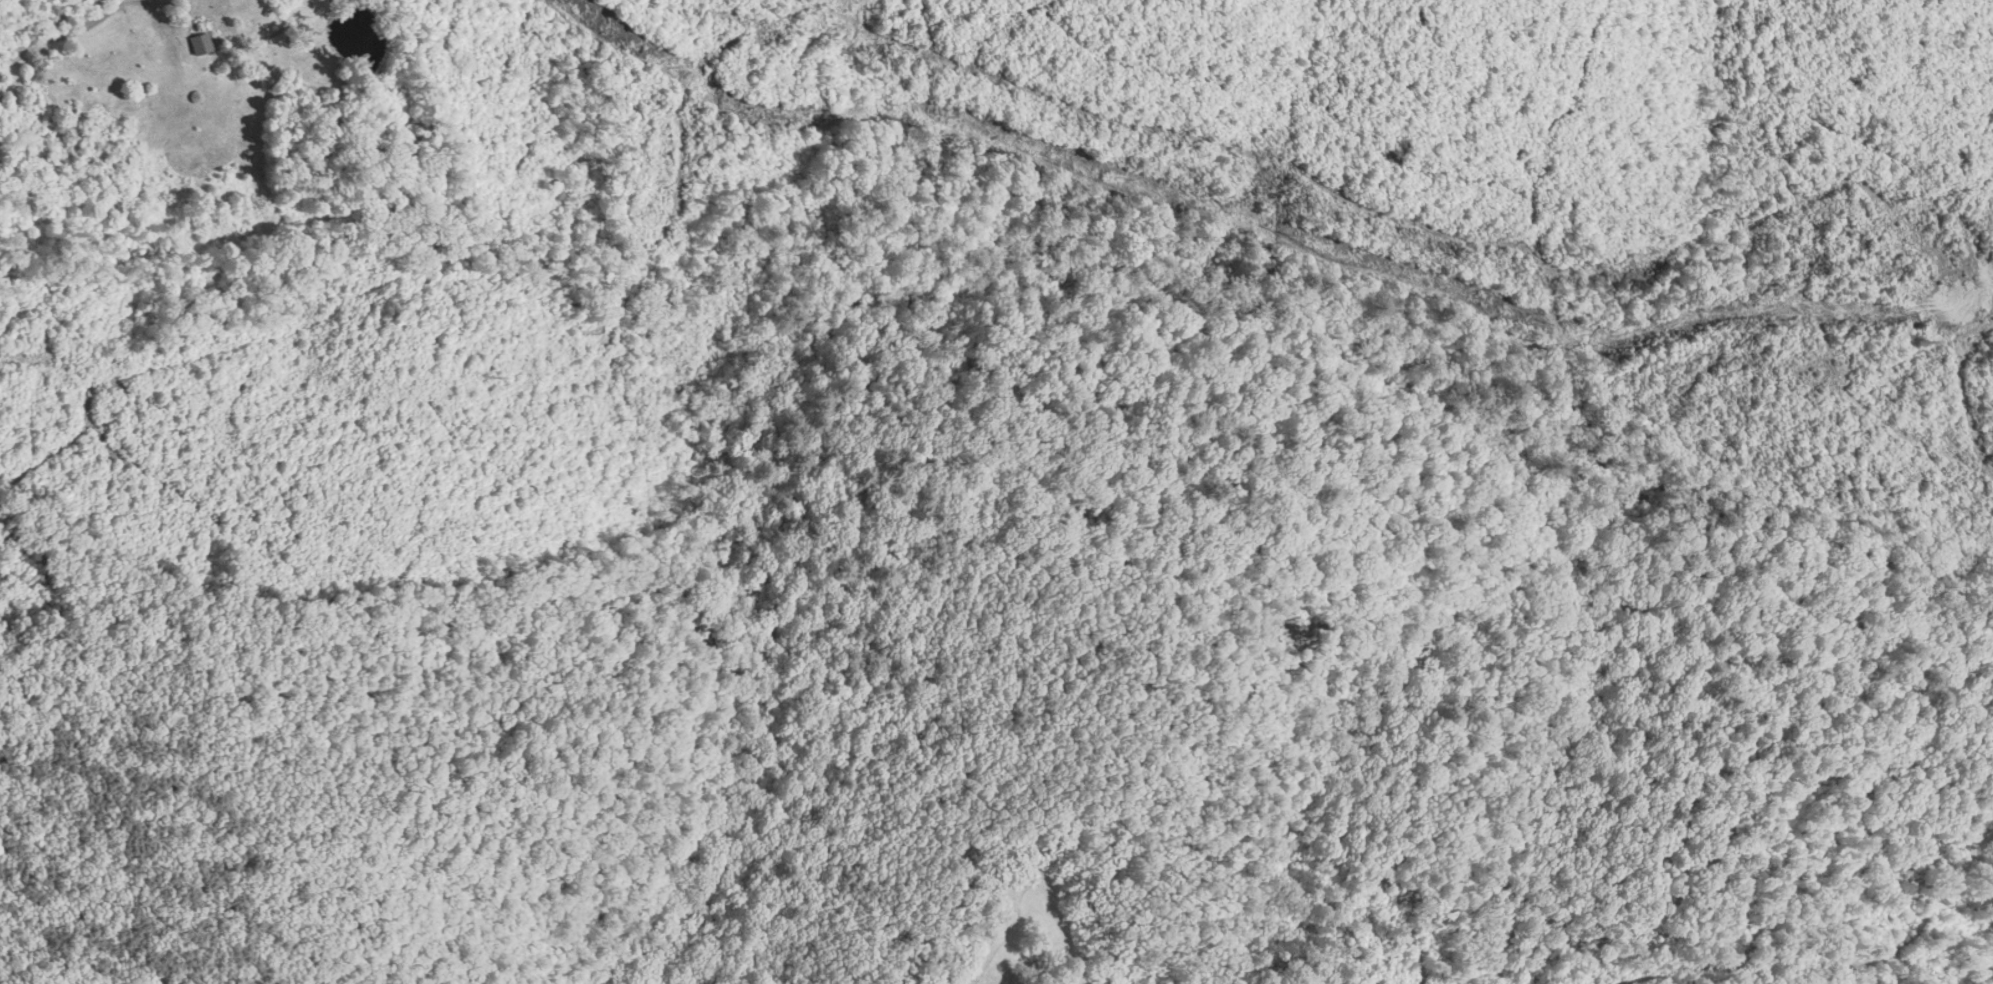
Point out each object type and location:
road: (64, 32)
building: (199, 44)

